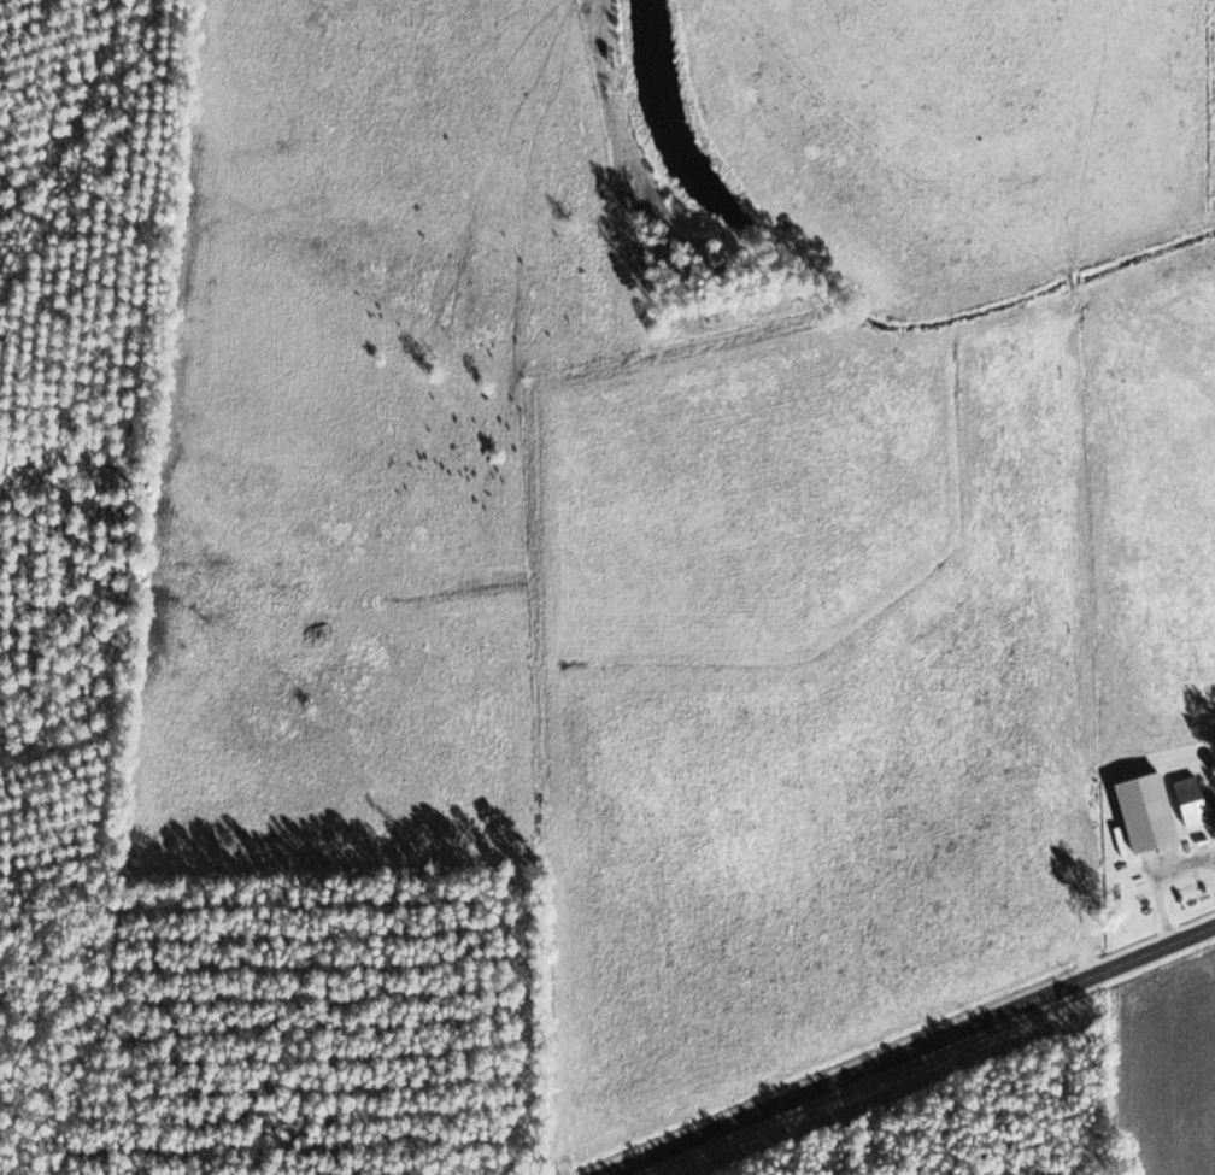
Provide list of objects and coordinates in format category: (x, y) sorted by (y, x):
building: (1190, 803)
building: (1144, 813)
road: (902, 1046)

